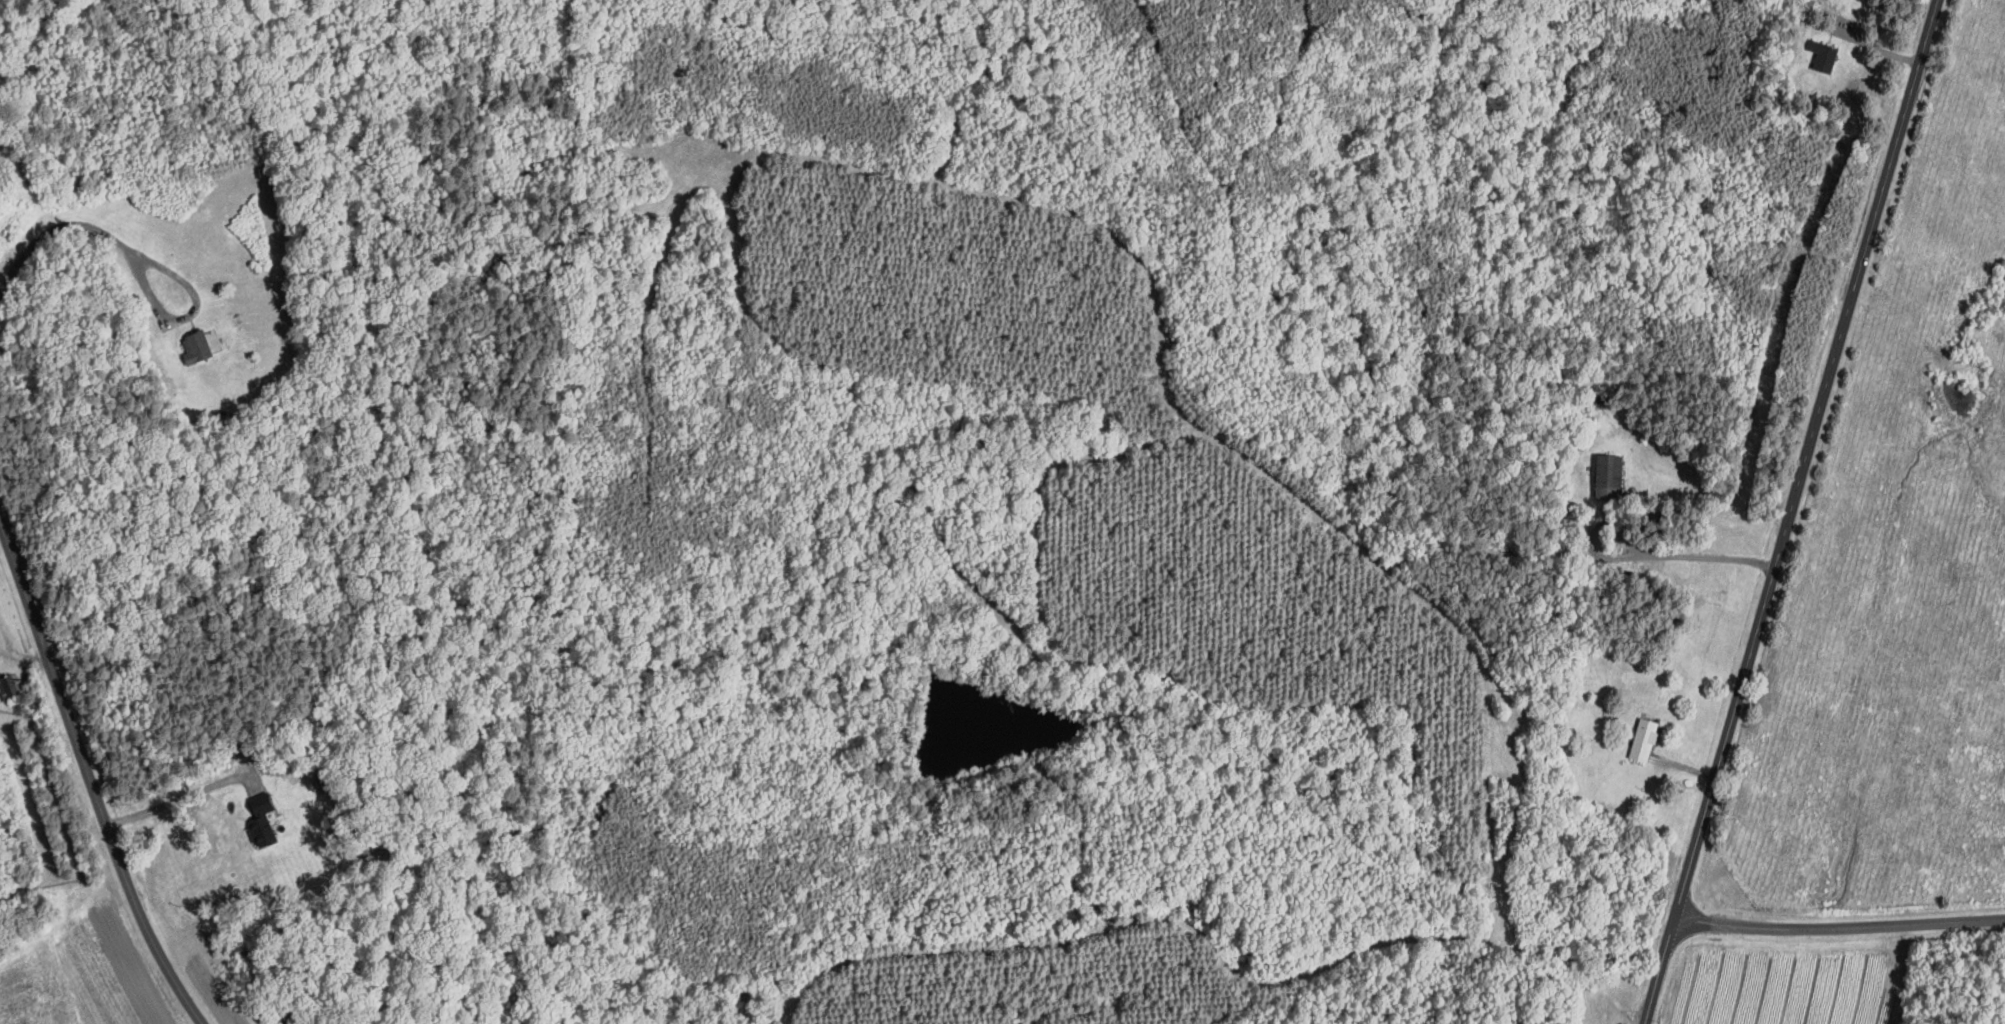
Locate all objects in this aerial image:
building: (1826, 55)
road: (55, 231)
road: (181, 317)
building: (199, 345)
building: (1611, 474)
road: (1790, 511)
road: (1641, 554)
building: (8, 687)
building: (1646, 738)
road: (90, 777)
road: (177, 799)
building: (265, 819)
road: (1839, 927)

